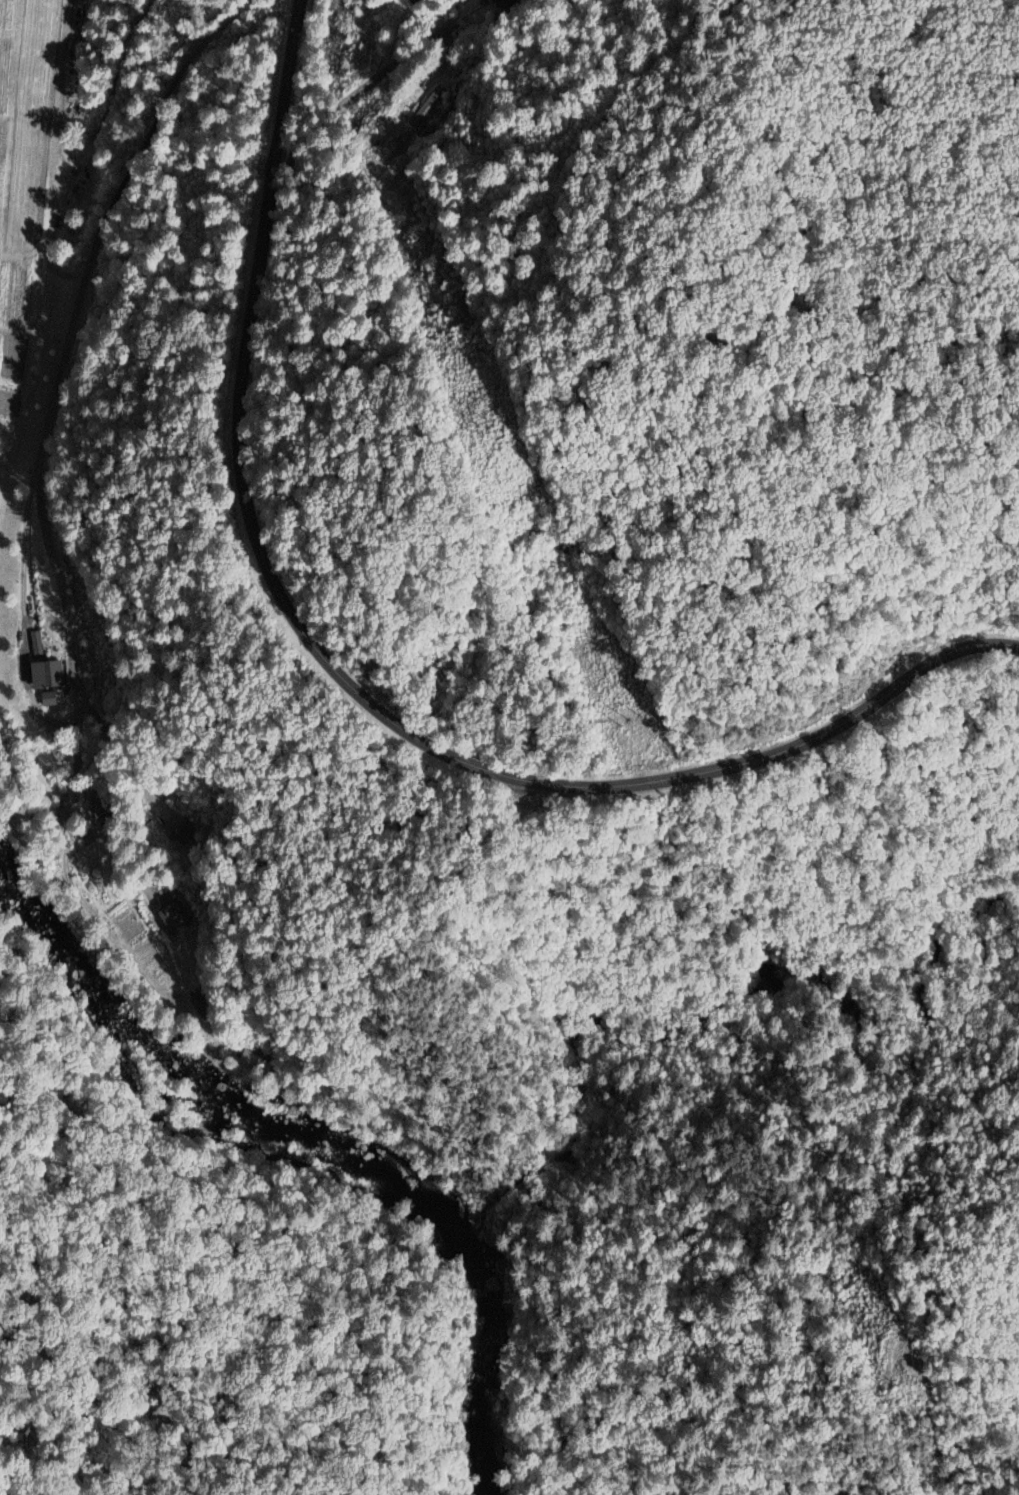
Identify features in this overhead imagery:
road: (328, 116)
power tower: (483, 421)
road: (351, 688)
power tower: (632, 720)
river: (199, 1086)
river: (488, 1364)
power tower: (893, 1386)

